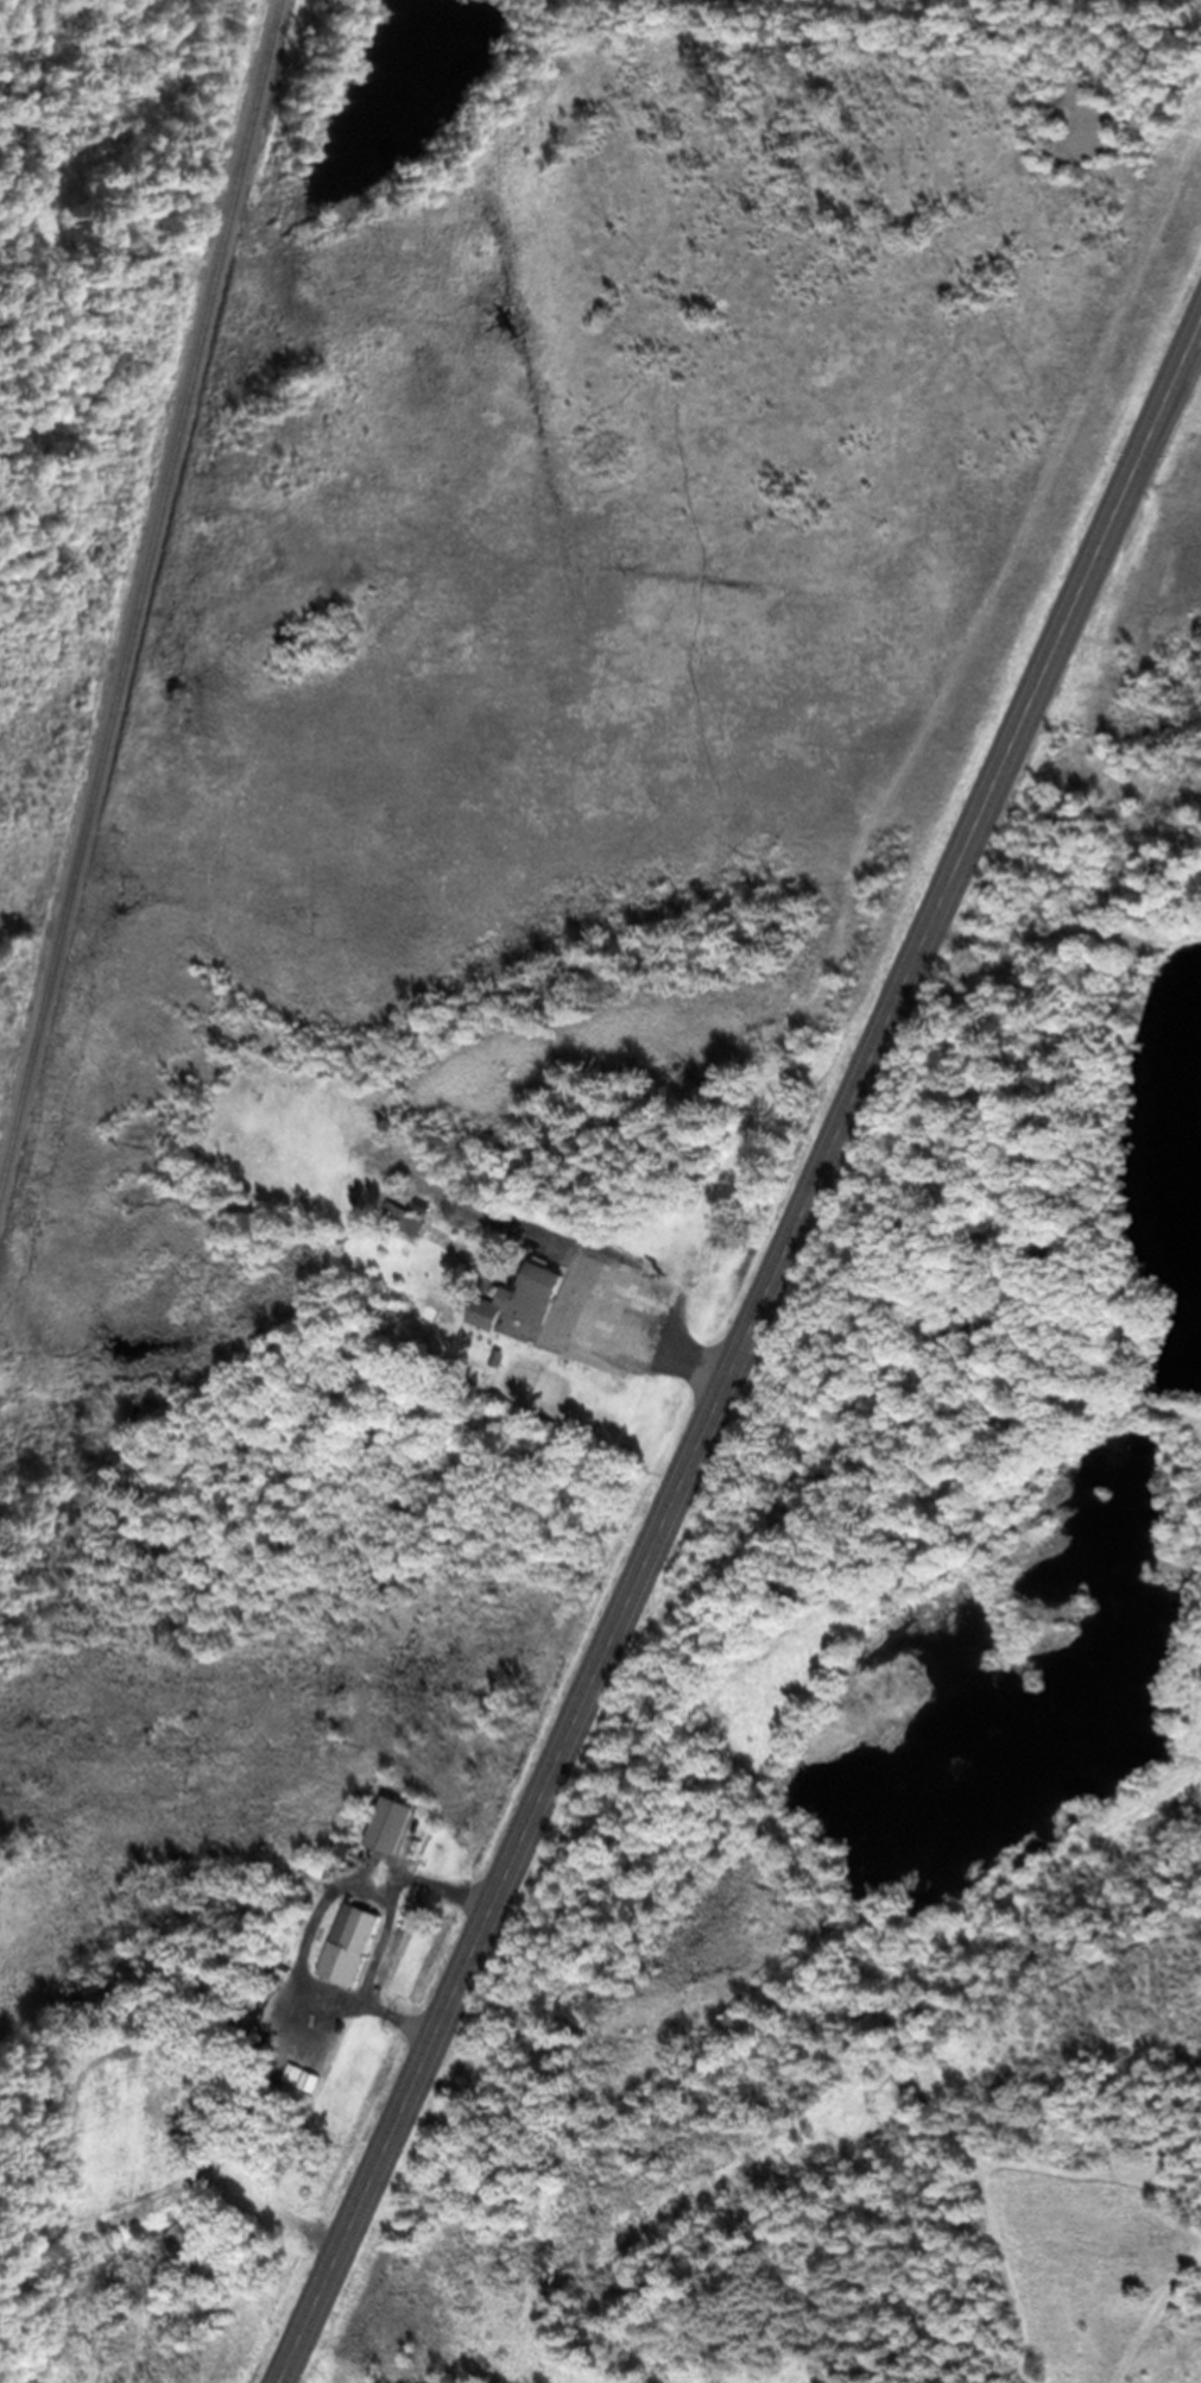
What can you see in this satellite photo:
railway: (140, 594)
building: (404, 1219)
building: (537, 1294)
parking lot: (612, 1316)
road: (658, 1342)
road: (741, 1355)
building: (394, 1822)
building: (318, 1867)
building: (350, 1943)

